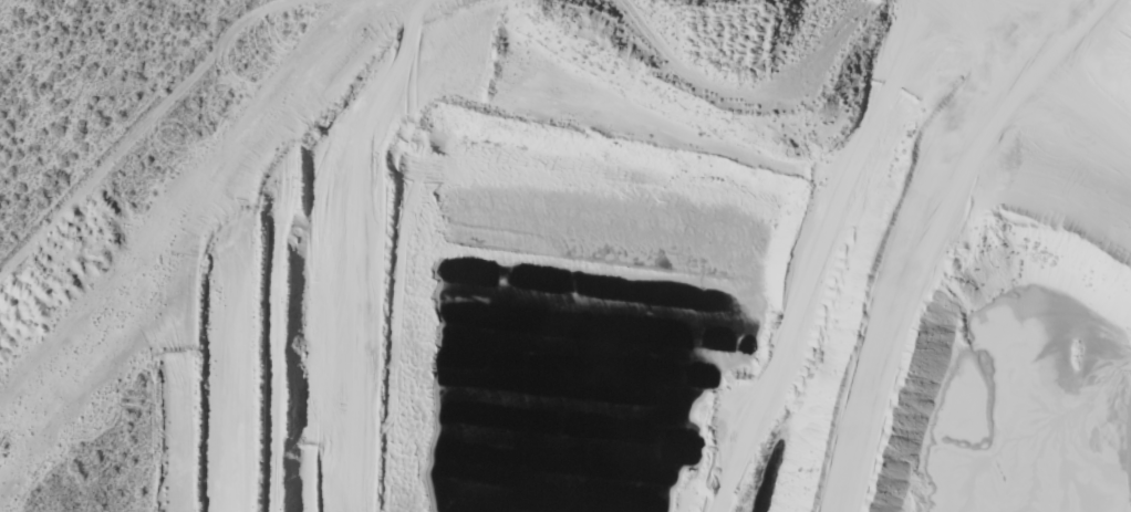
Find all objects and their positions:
quarry: (600, 268)
road: (779, 289)

